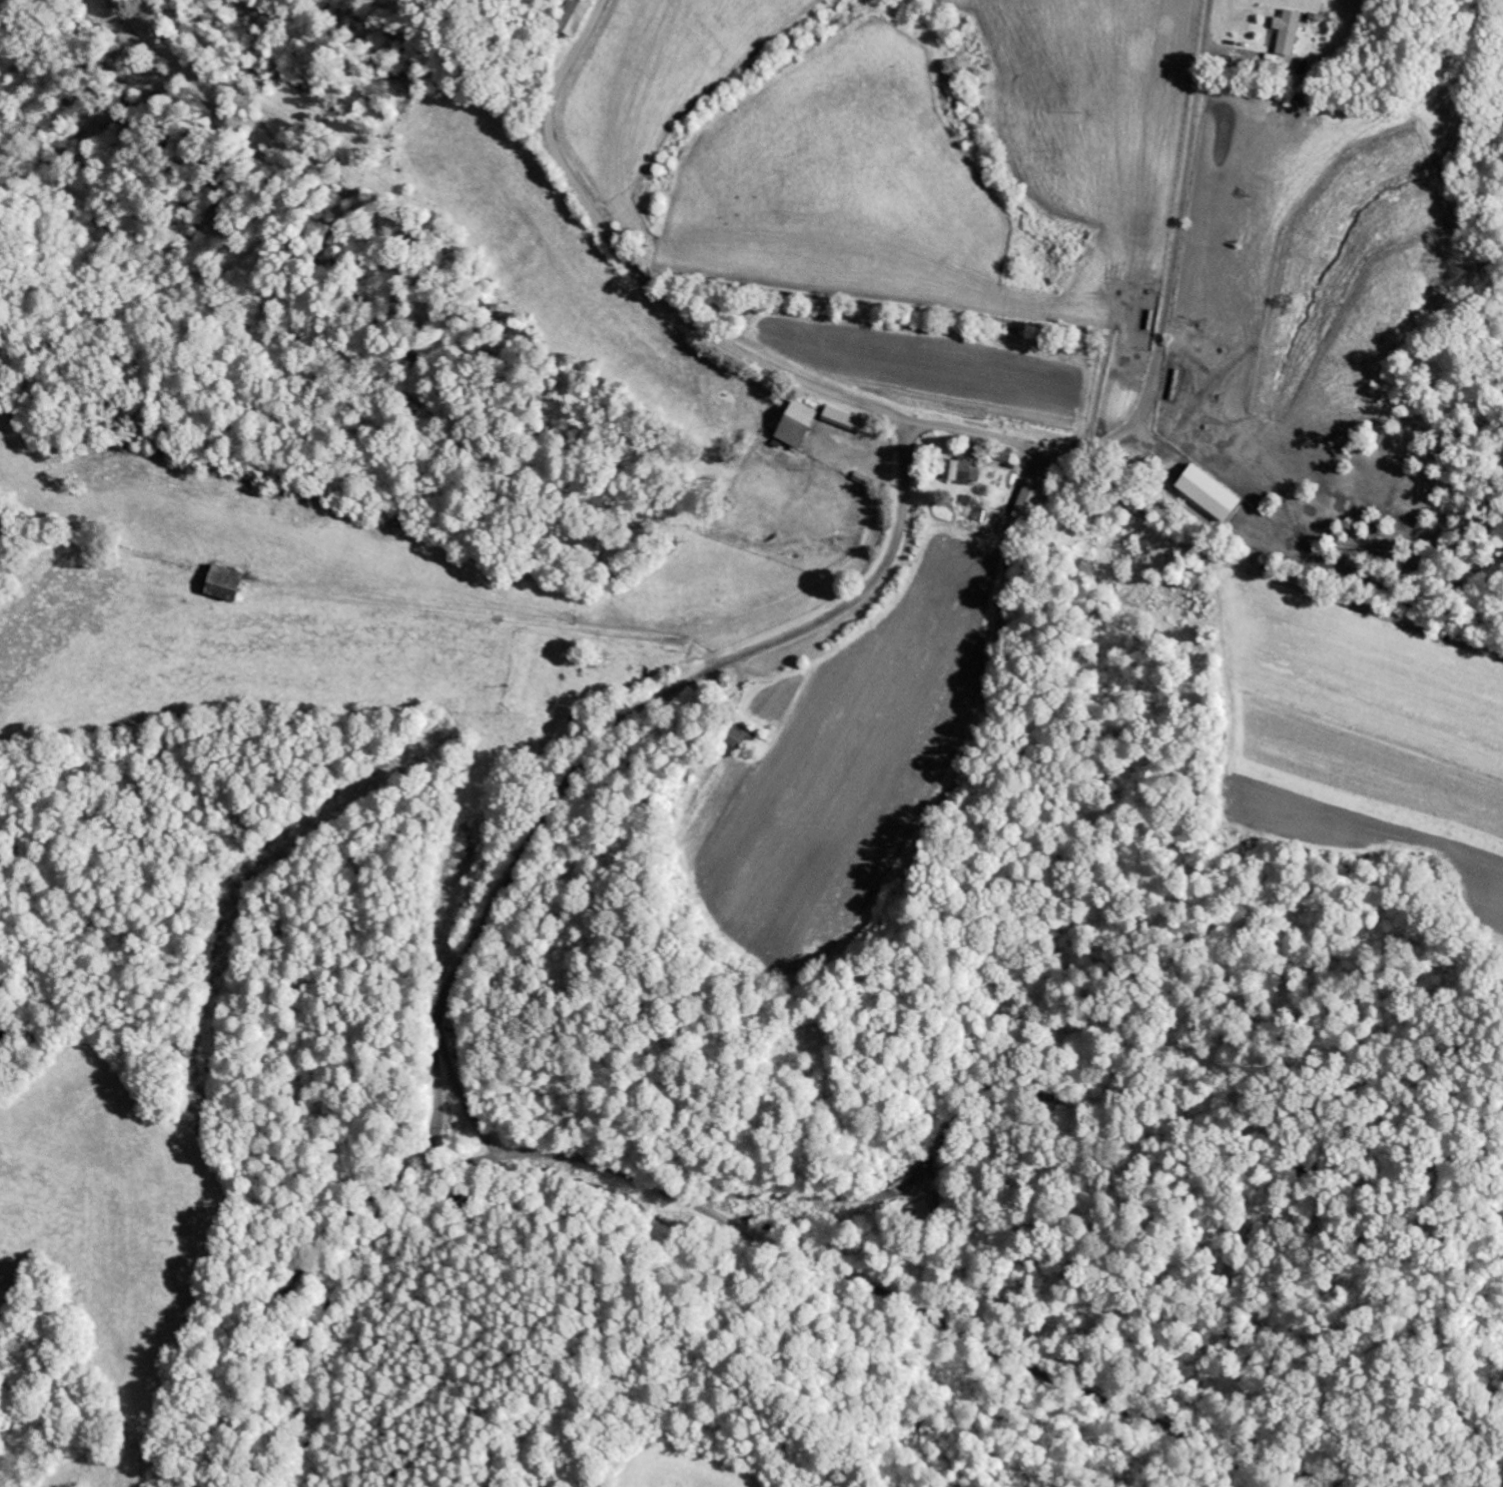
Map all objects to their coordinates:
building: (1284, 32)
road: (1160, 335)
building: (841, 419)
building: (790, 423)
building: (961, 469)
building: (1203, 491)
building: (1023, 503)
building: (217, 582)
road: (865, 587)
building: (735, 734)
road: (433, 1103)
road: (715, 1211)

